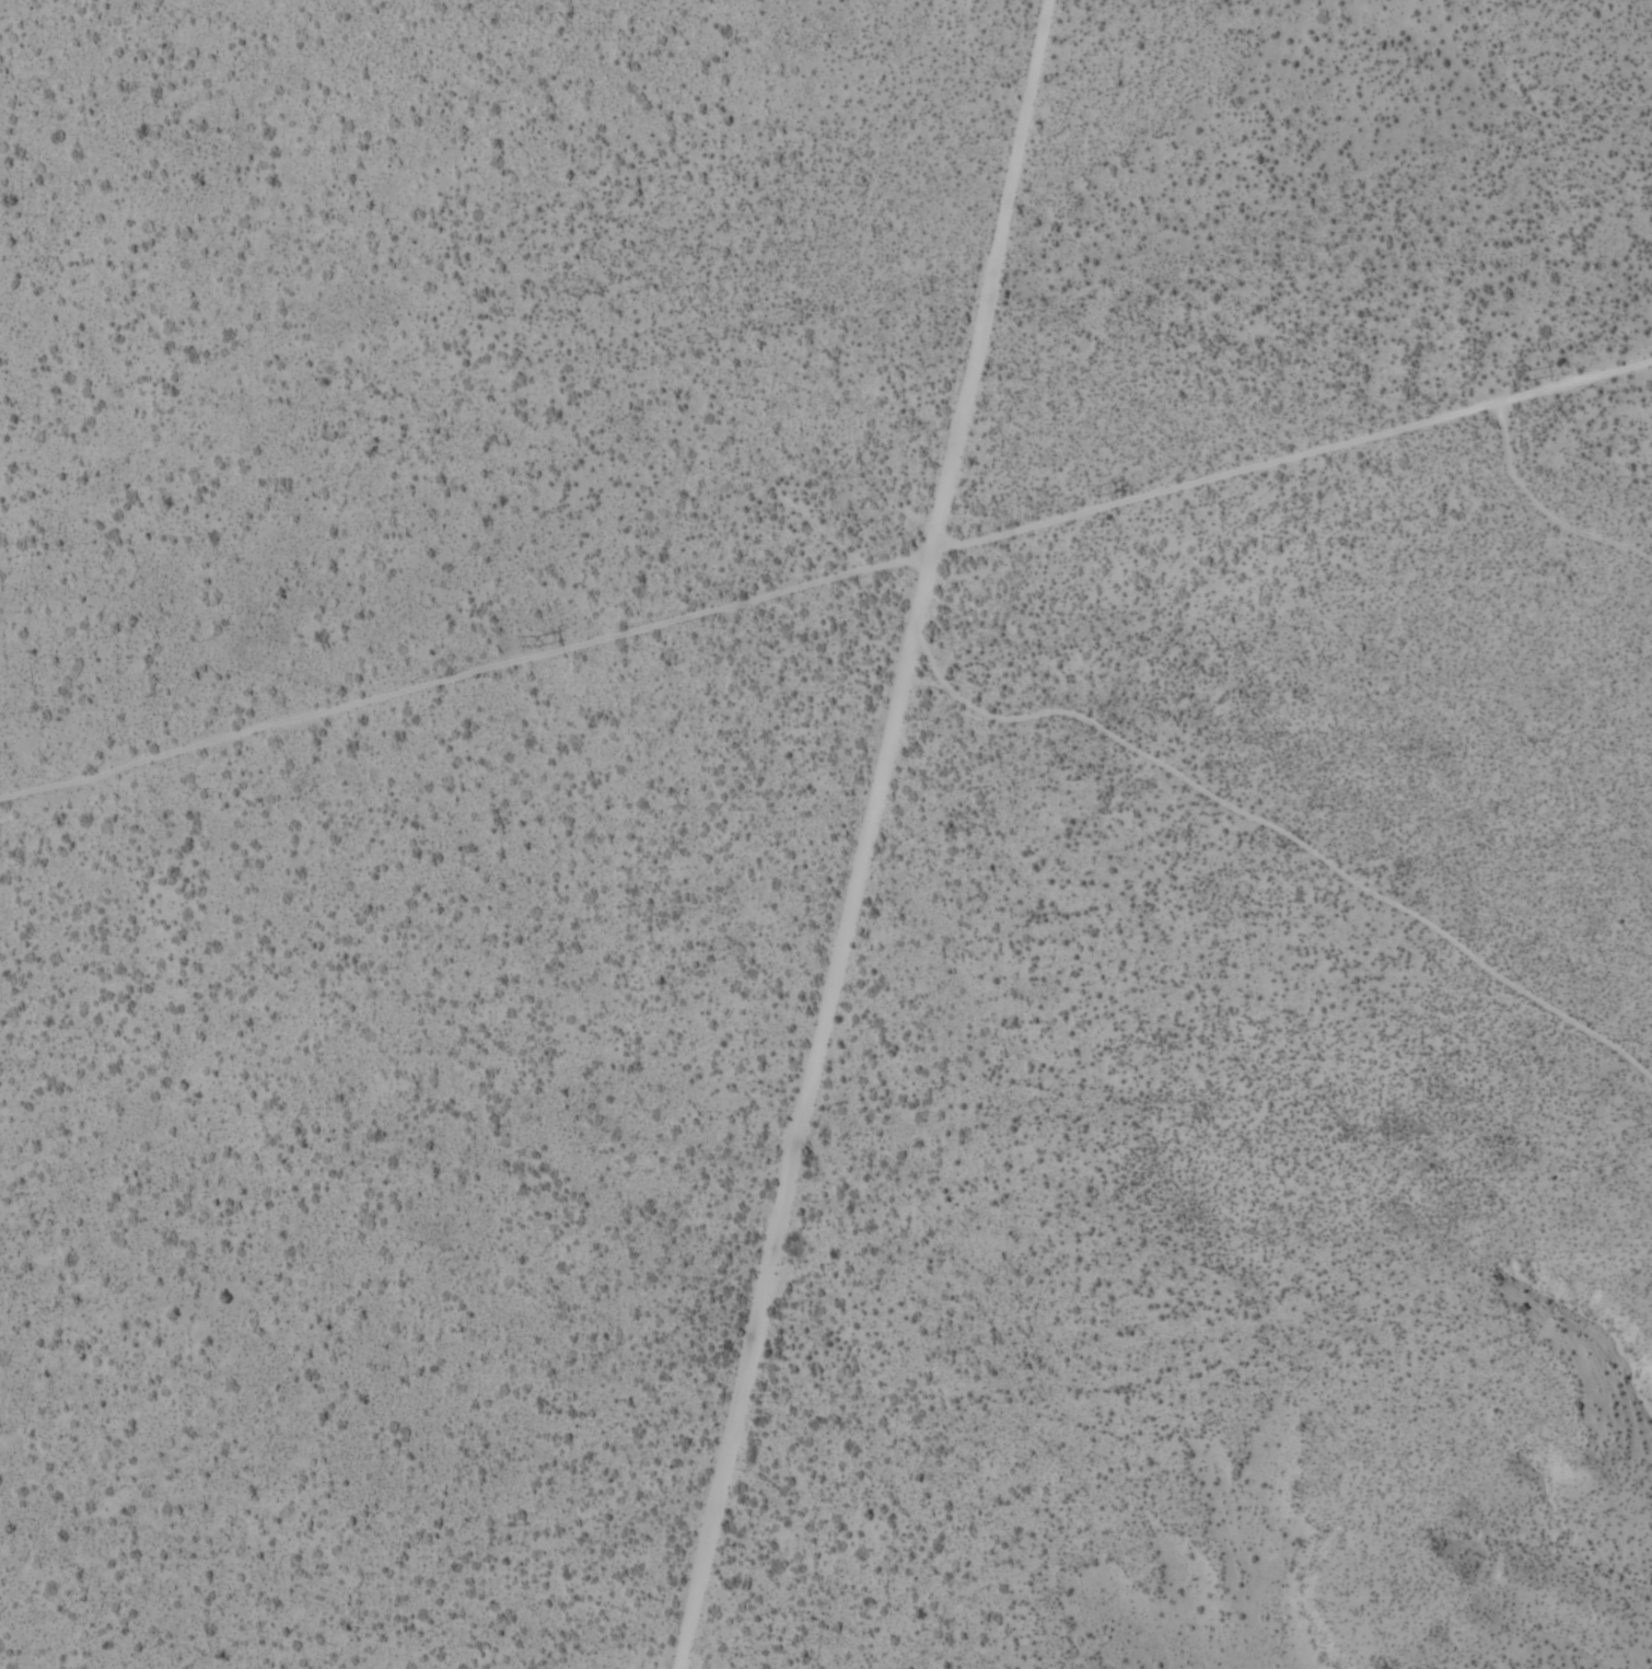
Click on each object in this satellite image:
power tower: (1519, 356)
power tower: (1094, 477)
road: (823, 583)
power tower: (534, 639)
road: (865, 835)

